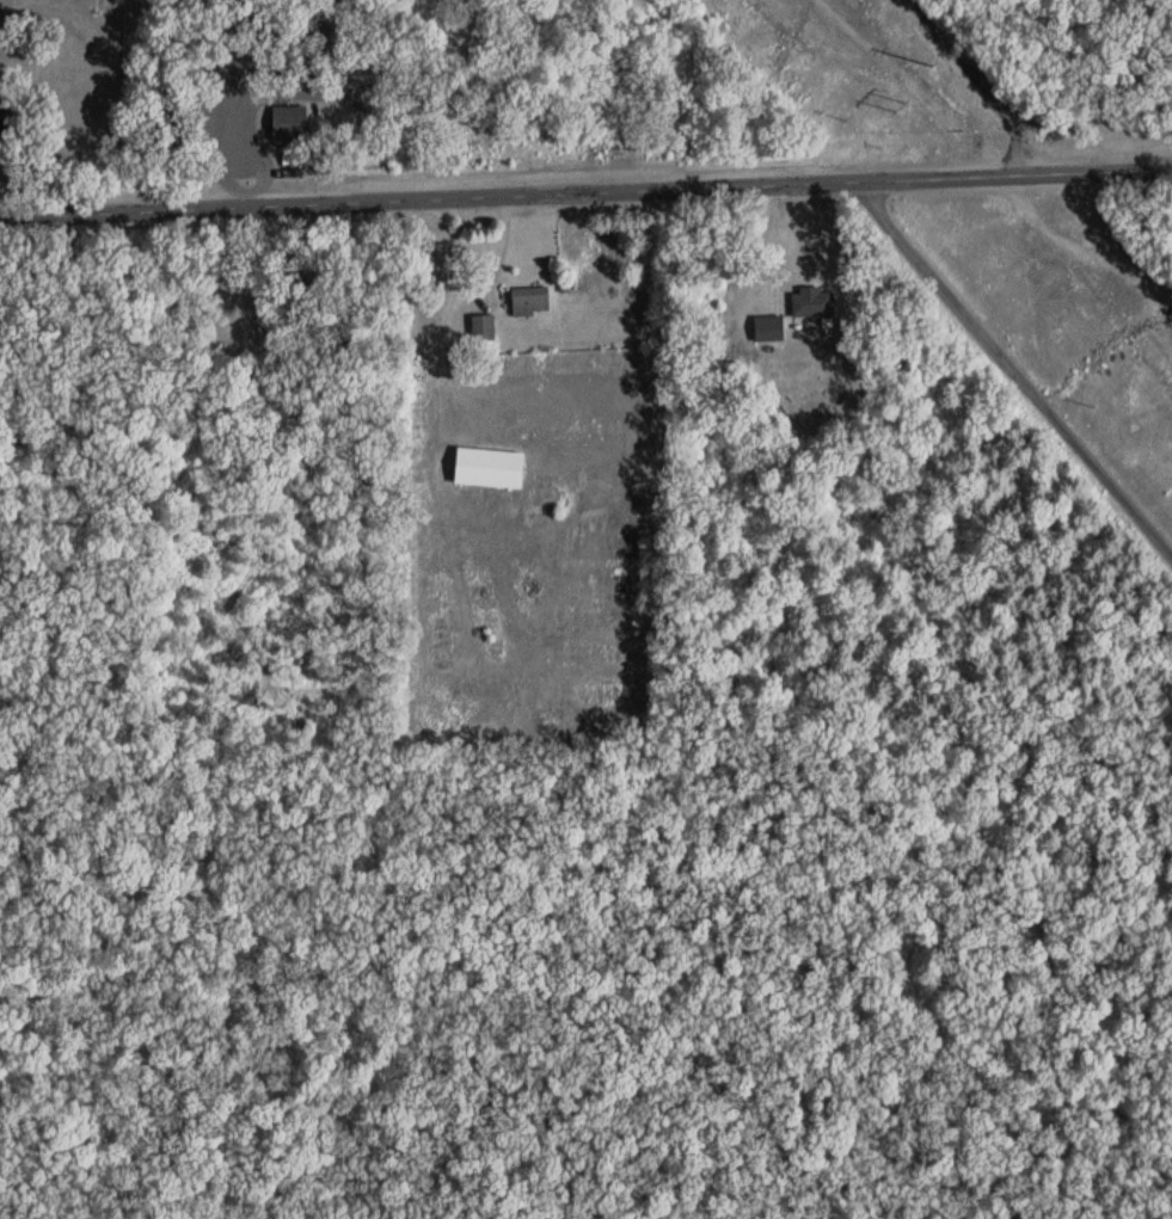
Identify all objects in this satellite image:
power tower: (927, 64)
road: (981, 79)
power tower: (895, 109)
building: (289, 124)
road: (585, 187)
road: (1098, 207)
road: (1072, 245)
building: (530, 301)
building: (815, 301)
road: (1011, 368)
building: (490, 467)

